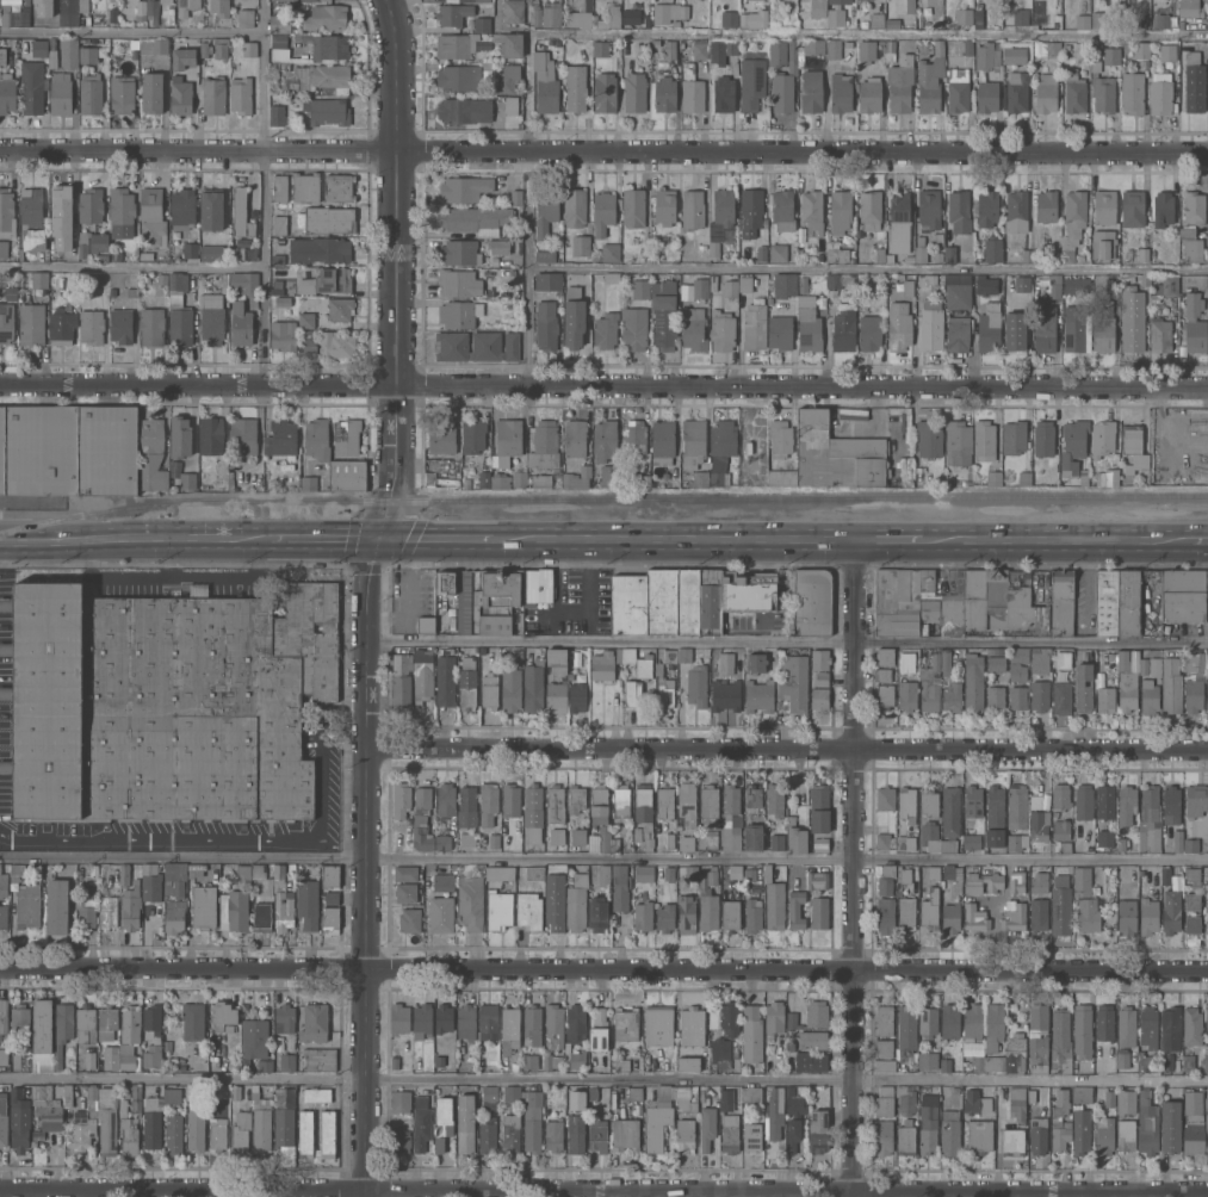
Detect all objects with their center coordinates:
building: (287, 0)
building: (451, 0)
building: (25, 1)
building: (165, 1)
building: (184, 1)
building: (838, 1)
building: (218, 6)
building: (909, 6)
building: (41, 7)
building: (817, 7)
building: (1190, 7)
building: (151, 8)
road: (496, 8)
building: (112, 10)
building: (140, 10)
building: (70, 11)
building: (513, 11)
building: (452, 12)
building: (668, 12)
building: (547, 13)
building: (964, 14)
building: (5, 15)
building: (324, 15)
building: (613, 15)
building: (631, 15)
building: (1020, 15)
building: (243, 17)
building: (577, 17)
building: (729, 17)
building: (752, 18)
building: (875, 18)
building: (891, 18)
building: (978, 18)
building: (1098, 18)
building: (788, 19)
building: (845, 19)
building: (1040, 19)
building: (1167, 19)
building: (1083, 20)
building: (279, 21)
building: (481, 23)
road: (512, 26)
road: (134, 33)
road: (692, 33)
building: (295, 35)
building: (495, 36)
building: (0, 39)
building: (278, 39)
building: (655, 42)
building: (510, 43)
building: (454, 44)
building: (997, 44)
building: (153, 45)
building: (329, 45)
building: (812, 45)
building: (967, 45)
building: (219, 46)
building: (600, 46)
building: (1095, 46)
building: (39, 48)
building: (204, 48)
building: (248, 48)
building: (669, 48)
building: (699, 48)
building: (834, 48)
building: (938, 48)
building: (1052, 48)
building: (721, 49)
building: (1141, 49)
building: (866, 50)
building: (890, 50)
building: (1166, 50)
building: (52, 52)
building: (67, 52)
building: (279, 52)
building: (776, 52)
building: (87, 54)
building: (1014, 54)
building: (2, 55)
building: (986, 55)
building: (1110, 55)
building: (181, 56)
building: (556, 62)
building: (488, 64)
road: (267, 74)
building: (316, 76)
building: (459, 76)
building: (506, 77)
building: (750, 79)
building: (785, 81)
building: (1194, 81)
building: (544, 82)
building: (31, 86)
building: (575, 86)
building: (899, 86)
building: (1017, 89)
building: (6, 91)
building: (150, 91)
building: (605, 91)
building: (633, 91)
building: (810, 91)
building: (840, 91)
building: (1132, 91)
building: (723, 92)
building: (1046, 92)
building: (1102, 92)
building: (1160, 92)
building: (58, 93)
building: (89, 93)
building: (120, 93)
building: (664, 93)
building: (179, 94)
building: (212, 94)
building: (240, 94)
building: (692, 94)
building: (868, 94)
building: (929, 94)
building: (958, 94)
building: (986, 94)
building: (1074, 94)
building: (510, 104)
building: (463, 108)
building: (327, 110)
building: (275, 113)
road: (134, 149)
road: (737, 150)
building: (279, 186)
building: (305, 186)
building: (337, 186)
building: (464, 187)
building: (515, 196)
building: (750, 203)
building: (30, 205)
building: (61, 205)
building: (89, 205)
building: (574, 205)
building: (664, 205)
building: (1046, 205)
building: (181, 206)
building: (633, 206)
building: (986, 206)
building: (1103, 206)
building: (1132, 206)
building: (1194, 206)
building: (899, 207)
building: (928, 207)
building: (1163, 207)
building: (211, 209)
building: (692, 209)
building: (782, 209)
building: (840, 209)
building: (869, 209)
building: (545, 210)
building: (603, 210)
building: (811, 210)
building: (959, 210)
building: (120, 211)
building: (1016, 211)
building: (6, 212)
building: (240, 212)
building: (1073, 213)
building: (151, 216)
building: (720, 216)
building: (326, 218)
building: (475, 218)
building: (278, 224)
building: (1187, 230)
building: (673, 236)
building: (663, 237)
building: (32, 238)
building: (810, 241)
building: (81, 243)
building: (1102, 243)
building: (580, 244)
building: (936, 244)
building: (98, 246)
building: (2, 248)
building: (318, 248)
building: (992, 248)
building: (1191, 248)
building: (188, 249)
building: (497, 249)
building: (653, 249)
building: (459, 250)
building: (609, 250)
building: (778, 250)
building: (211, 252)
building: (237, 252)
building: (644, 252)
building: (761, 253)
building: (837, 253)
building: (921, 253)
building: (1142, 253)
building: (145, 254)
building: (702, 254)
building: (879, 254)
building: (949, 254)
building: (1067, 254)
building: (544, 255)
building: (1027, 255)
building: (1036, 255)
building: (111, 256)
building: (888, 256)
building: (277, 258)
road: (132, 267)
road: (869, 267)
road: (265, 268)
road: (401, 271)
building: (6, 275)
building: (611, 275)
building: (918, 277)
building: (161, 278)
building: (333, 278)
building: (39, 279)
building: (61, 279)
building: (547, 279)
building: (1144, 279)
building: (832, 280)
building: (178, 281)
building: (243, 281)
building: (458, 281)
building: (1084, 281)
building: (745, 283)
building: (801, 283)
building: (1022, 283)
building: (783, 284)
building: (986, 284)
building: (1108, 284)
building: (1054, 285)
building: (730, 286)
building: (906, 286)
building: (1169, 286)
building: (639, 287)
building: (699, 287)
building: (131, 291)
building: (11, 292)
building: (516, 293)
building: (1125, 296)
building: (211, 299)
building: (281, 300)
building: (1142, 305)
building: (340, 308)
building: (456, 312)
building: (663, 312)
building: (956, 314)
building: (572, 316)
building: (305, 318)
building: (6, 322)
building: (31, 322)
building: (240, 322)
building: (1194, 322)
building: (807, 323)
building: (60, 324)
building: (120, 324)
building: (180, 324)
building: (211, 324)
building: (754, 324)
building: (898, 324)
building: (91, 325)
building: (151, 325)
building: (989, 325)
building: (1043, 327)
building: (1102, 327)
building: (605, 328)
building: (634, 328)
building: (693, 328)
building: (1073, 328)
building: (721, 329)
building: (843, 329)
building: (930, 329)
building: (1015, 329)
building: (546, 330)
building: (780, 330)
building: (868, 330)
building: (281, 334)
building: (1134, 334)
building: (1159, 334)
building: (309, 336)
building: (335, 343)
building: (451, 345)
building: (493, 345)
road: (603, 386)
building: (210, 434)
building: (346, 434)
building: (179, 435)
building: (472, 435)
building: (507, 435)
building: (1014, 435)
building: (280, 436)
building: (574, 436)
building: (633, 436)
building: (723, 436)
building: (780, 436)
building: (984, 436)
building: (1042, 436)
building: (1102, 436)
building: (241, 438)
building: (316, 438)
building: (441, 438)
building: (928, 438)
building: (603, 439)
building: (662, 440)
building: (692, 441)
building: (958, 441)
building: (543, 444)
building: (1178, 444)
building: (1073, 445)
building: (748, 446)
building: (1133, 447)
building: (68, 449)
building: (150, 453)
building: (832, 455)
building: (347, 473)
building: (608, 475)
building: (1107, 475)
building: (1083, 476)
building: (519, 477)
building: (577, 477)
building: (993, 477)
building: (1023, 477)
building: (483, 478)
building: (634, 478)
building: (699, 478)
building: (715, 478)
building: (186, 479)
building: (540, 479)
building: (308, 480)
building: (500, 480)
building: (980, 480)
building: (465, 482)
building: (229, 483)
railway: (602, 498)
road: (1200, 540)
road: (1055, 541)
road: (135, 542)
road: (324, 542)
traffic signals: (380, 542)
road: (434, 542)
road: (670, 542)
road: (886, 542)
road: (172, 560)
road: (173, 577)
building: (445, 582)
building: (956, 582)
parking lot: (6, 588)
building: (748, 590)
building: (1151, 591)
building: (1183, 594)
building: (1207, 594)
building: (997, 596)
building: (928, 597)
building: (974, 597)
building: (496, 598)
building: (688, 600)
building: (710, 600)
building: (463, 601)
building: (811, 601)
building: (897, 601)
building: (1023, 601)
building: (1061, 601)
building: (1107, 601)
building: (1128, 601)
building: (645, 602)
building: (541, 603)
building: (950, 613)
building: (520, 620)
building: (425, 622)
parking lot: (6, 625)
road: (609, 639)
road: (1029, 641)
building: (539, 650)
building: (993, 650)
building: (670, 655)
building: (683, 655)
building: (1018, 655)
building: (1110, 655)
building: (515, 656)
building: (884, 656)
building: (819, 658)
building: (1039, 658)
building: (1063, 658)
building: (1207, 658)
building: (506, 659)
building: (556, 659)
building: (1122, 659)
building: (634, 660)
building: (944, 660)
building: (755, 662)
building: (725, 663)
building: (995, 663)
building: (601, 664)
building: (1144, 665)
building: (1153, 666)
parking lot: (6, 669)
building: (1016, 671)
building: (422, 672)
building: (399, 677)
building: (820, 677)
building: (444, 680)
building: (792, 681)
building: (972, 681)
building: (930, 683)
building: (1170, 683)
building: (696, 684)
building: (885, 686)
building: (1083, 686)
building: (663, 687)
building: (510, 688)
building: (532, 688)
building: (1127, 689)
building: (466, 690)
building: (489, 690)
building: (631, 693)
building: (725, 693)
building: (758, 694)
building: (906, 694)
building: (1192, 694)
building: (1207, 694)
building: (556, 695)
building: (950, 695)
building: (1039, 695)
building: (1147, 695)
building: (576, 696)
building: (819, 696)
building: (995, 696)
building: (1017, 696)
building: (1060, 696)
building: (1105, 697)
building: (163, 701)
parking lot: (6, 728)
road: (343, 728)
road: (786, 759)
road: (321, 783)
building: (752, 794)
building: (1060, 795)
building: (885, 796)
building: (399, 798)
building: (730, 798)
building: (445, 799)
building: (509, 799)
building: (576, 799)
building: (775, 799)
building: (1196, 799)
building: (708, 800)
building: (972, 800)
building: (1104, 800)
building: (663, 801)
building: (928, 801)
building: (1083, 801)
building: (487, 802)
building: (599, 802)
building: (620, 802)
building: (686, 802)
building: (1034, 802)
building: (1126, 802)
building: (555, 804)
building: (906, 804)
building: (995, 804)
building: (1170, 805)
building: (1016, 806)
building: (465, 807)
building: (818, 807)
building: (949, 811)
building: (532, 812)
building: (644, 813)
building: (421, 818)
building: (1148, 820)
parking lot: (148, 832)
building: (1039, 832)
building: (637, 833)
building: (929, 835)
road: (160, 836)
building: (556, 836)
building: (577, 836)
building: (752, 836)
building: (795, 836)
building: (1060, 836)
building: (730, 837)
building: (600, 838)
building: (613, 838)
building: (707, 838)
building: (995, 838)
building: (1104, 838)
building: (466, 839)
building: (493, 839)
building: (1177, 839)
building: (686, 841)
building: (776, 841)
building: (882, 841)
building: (971, 841)
road: (341, 842)
building: (442, 842)
building: (669, 842)
building: (910, 842)
building: (1017, 842)
building: (819, 843)
building: (1120, 843)
building: (947, 844)
building: (1190, 844)
road: (181, 854)
road: (607, 857)
road: (1029, 857)
road: (364, 868)
building: (19, 869)
building: (93, 869)
building: (193, 869)
road: (853, 869)
building: (100, 870)
building: (258, 870)
building: (731, 870)
building: (690, 872)
building: (928, 872)
building: (242, 873)
building: (404, 873)
building: (500, 873)
building: (533, 873)
building: (644, 873)
building: (668, 873)
building: (1190, 873)
building: (122, 874)
building: (749, 874)
building: (329, 875)
building: (603, 875)
building: (711, 875)
building: (903, 875)
building: (952, 875)
building: (1165, 875)
building: (1080, 877)
building: (174, 880)
building: (817, 880)
building: (885, 880)
building: (150, 881)
building: (442, 881)
building: (992, 881)
building: (1016, 881)
building: (1039, 881)
building: (972, 882)
building: (2, 883)
building: (943, 885)
building: (268, 886)
building: (619, 887)
building: (405, 892)
building: (255, 897)
building: (330, 897)
building: (281, 899)
building: (470, 901)
building: (1191, 901)
building: (306, 903)
building: (555, 903)
building: (576, 903)
building: (1060, 903)
building: (1207, 903)
building: (27, 905)
building: (774, 905)
building: (55, 906)
building: (203, 906)
building: (129, 907)
building: (795, 908)
building: (233, 910)
building: (497, 910)
building: (106, 911)
building: (528, 911)
building: (818, 911)
building: (929, 911)
building: (1170, 911)
building: (85, 912)
building: (707, 912)
building: (440, 913)
building: (686, 913)
building: (905, 913)
building: (597, 914)
building: (729, 914)
building: (752, 914)
building: (884, 914)
building: (1037, 914)
building: (1088, 914)
building: (4, 916)
building: (261, 916)
building: (642, 916)
building: (1147, 916)
building: (173, 917)
building: (664, 917)
building: (949, 917)
building: (974, 917)
building: (1014, 917)
building: (1126, 917)
building: (329, 918)
building: (409, 919)
building: (1191, 924)
building: (1207, 925)
road: (603, 966)
building: (816, 1013)
building: (2, 1015)
building: (221, 1015)
building: (106, 1017)
building: (150, 1017)
building: (284, 1017)
building: (442, 1017)
building: (724, 1017)
building: (1207, 1017)
building: (19, 1018)
building: (399, 1018)
building: (773, 1018)
building: (884, 1019)
building: (421, 1021)
building: (465, 1021)
building: (488, 1021)
building: (791, 1021)
building: (928, 1021)
building: (949, 1021)
building: (972, 1021)
building: (993, 1021)
building: (1126, 1021)
building: (191, 1022)
building: (312, 1022)
building: (1103, 1022)
building: (85, 1023)
building: (532, 1023)
building: (625, 1023)
building: (553, 1024)
building: (657, 1024)
building: (41, 1025)
building: (1147, 1025)
building: (1191, 1025)
building: (690, 1027)
building: (228, 1028)
building: (1170, 1028)
building: (509, 1029)
building: (60, 1030)
building: (1082, 1030)
building: (906, 1031)
building: (575, 1034)
building: (750, 1034)
building: (128, 1036)
building: (253, 1038)
building: (812, 1038)
building: (1037, 1038)
building: (1060, 1041)
building: (166, 1044)
building: (597, 1044)
building: (789, 1044)
building: (884, 1048)
building: (719, 1050)
building: (1016, 1053)
building: (150, 1055)
building: (2, 1056)
building: (109, 1058)
building: (88, 1059)
building: (318, 1059)
building: (928, 1060)
building: (1121, 1060)
building: (1146, 1060)
building: (24, 1061)
building: (286, 1061)
building: (438, 1061)
building: (529, 1061)
building: (551, 1061)
building: (810, 1061)
building: (1166, 1061)
building: (1206, 1061)
building: (394, 1062)
building: (687, 1062)
building: (977, 1062)
building: (993, 1062)
building: (1188, 1062)
building: (264, 1065)
building: (620, 1065)
building: (885, 1065)
building: (944, 1065)
building: (516, 1067)
road: (603, 1081)
building: (0, 1087)
building: (191, 1090)
building: (955, 1090)
building: (253, 1091)
building: (235, 1092)
building: (512, 1092)
building: (751, 1093)
building: (1082, 1093)
building: (66, 1094)
building: (171, 1094)
building: (315, 1094)
building: (285, 1096)
building: (1030, 1096)
building: (488, 1097)
building: (135, 1098)
building: (591, 1098)
building: (1109, 1098)
building: (576, 1099)
building: (725, 1099)
building: (819, 1099)
building: (399, 1100)
building: (684, 1100)
building: (884, 1100)
building: (905, 1100)
building: (1126, 1100)
building: (651, 1102)
building: (794, 1102)
building: (975, 1102)
building: (1060, 1102)
building: (194, 1103)
building: (533, 1103)
building: (1016, 1103)
building: (1206, 1103)
building: (512, 1106)
building: (120, 1108)
building: (47, 1109)
building: (774, 1112)
building: (444, 1114)
building: (106, 1118)
building: (2, 1120)
building: (19, 1120)
building: (83, 1121)
building: (150, 1122)
building: (420, 1122)
building: (1147, 1122)
building: (464, 1123)
building: (627, 1123)
building: (1192, 1123)
building: (260, 1125)
building: (283, 1125)
building: (1170, 1125)
building: (655, 1127)
building: (706, 1127)
building: (927, 1129)
building: (238, 1130)
building: (817, 1131)
building: (949, 1131)
building: (1079, 1131)
building: (216, 1133)
building: (509, 1133)
building: (575, 1133)
building: (729, 1133)
building: (792, 1133)
building: (173, 1134)
building: (194, 1134)
building: (304, 1134)
building: (326, 1134)
building: (487, 1134)
building: (1060, 1134)
building: (1207, 1134)
building: (531, 1135)
building: (553, 1135)
building: (596, 1135)
building: (979, 1135)
building: (1036, 1135)
building: (1104, 1135)
building: (1126, 1135)
building: (128, 1136)
building: (684, 1136)
building: (750, 1136)
building: (882, 1136)
building: (905, 1140)
building: (399, 1141)
building: (1012, 1141)
building: (438, 1145)
road: (603, 1192)

